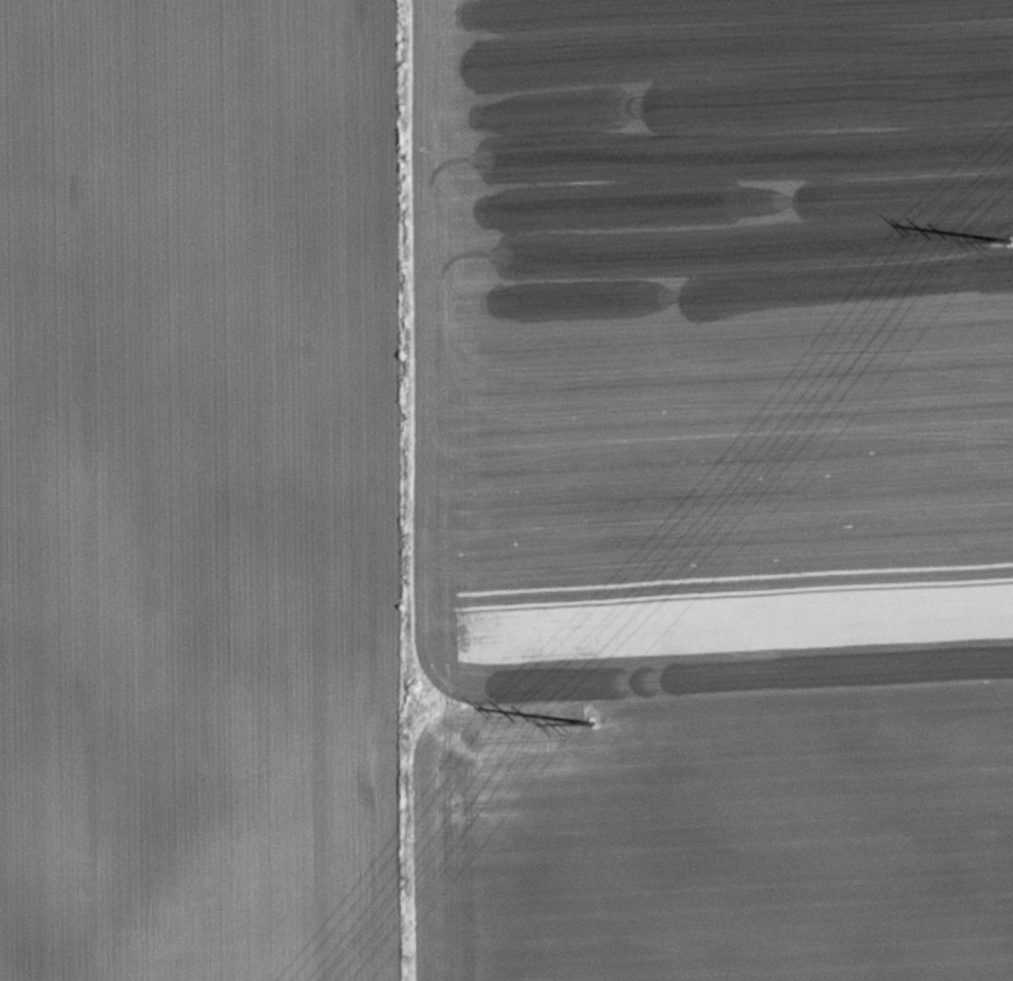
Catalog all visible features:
power tower: (1012, 236)
power tower: (602, 720)

